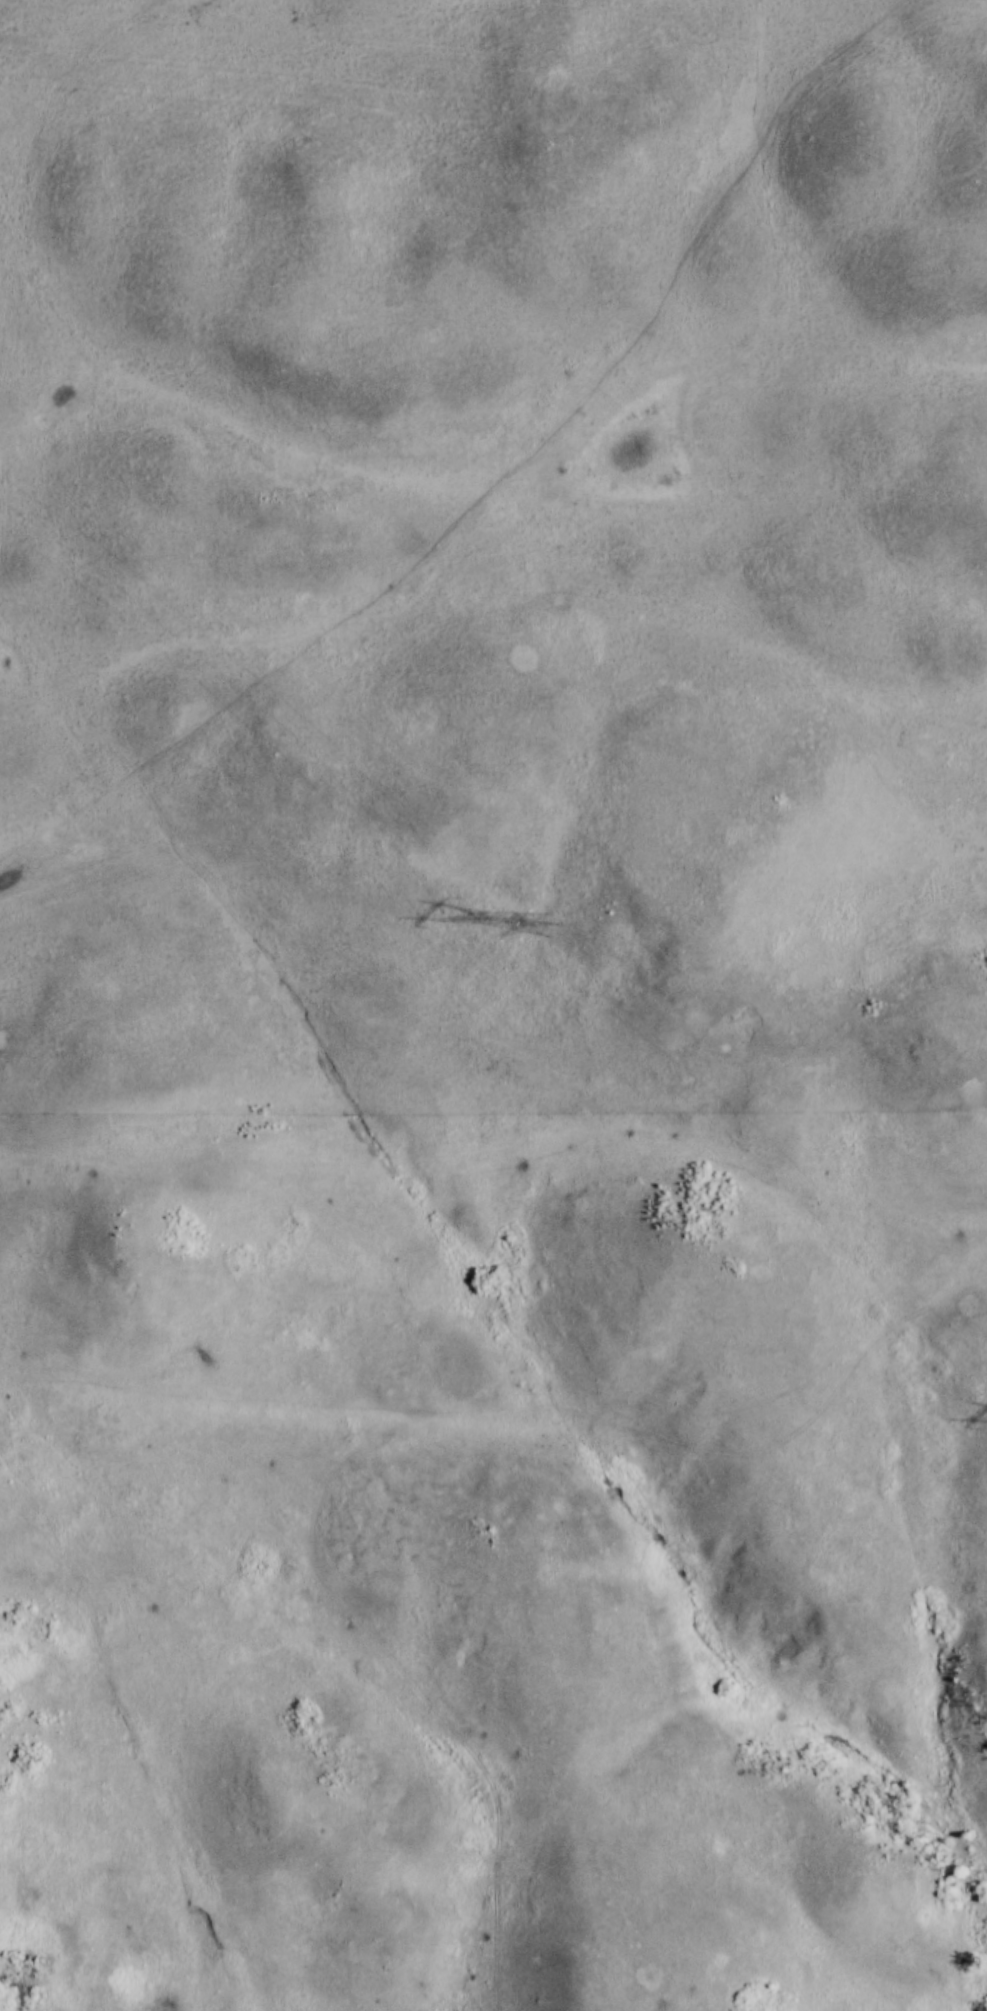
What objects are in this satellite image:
power tower: (543, 922)

